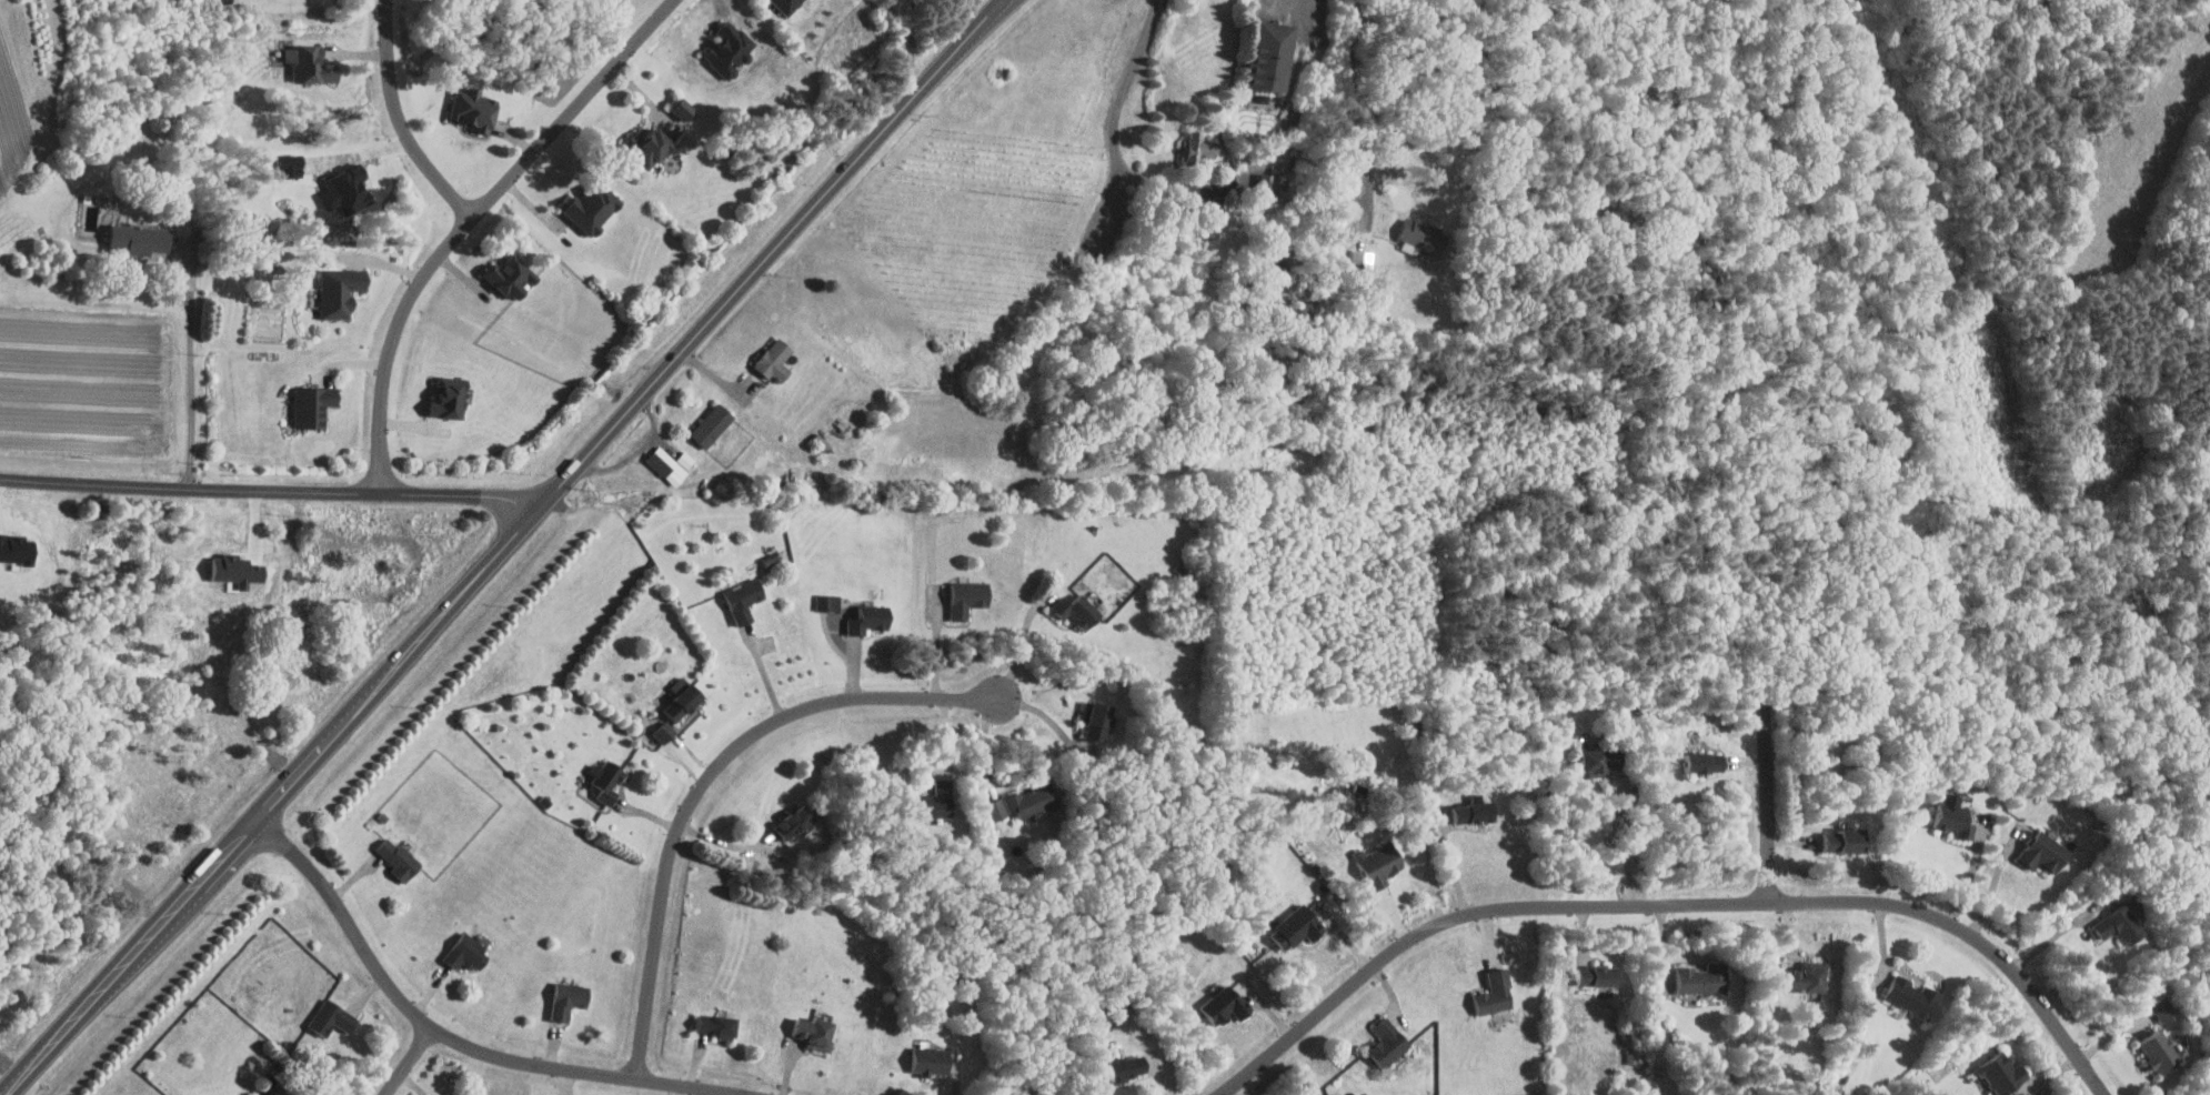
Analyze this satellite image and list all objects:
road: (1307, 3)
building: (787, 4)
road: (995, 9)
road: (999, 9)
building: (730, 49)
building: (1273, 56)
building: (310, 64)
building: (684, 109)
building: (474, 110)
road: (400, 120)
road: (1114, 131)
building: (652, 148)
building: (1198, 148)
road: (363, 152)
building: (291, 170)
building: (1275, 182)
building: (346, 190)
building: (594, 209)
road: (470, 218)
building: (1424, 237)
building: (141, 239)
building: (1363, 261)
building: (513, 278)
building: (340, 292)
building: (775, 361)
road: (191, 369)
building: (450, 400)
building: (313, 406)
building: (713, 425)
building: (672, 464)
road: (274, 491)
road: (496, 557)
building: (772, 559)
building: (968, 596)
building: (744, 597)
building: (828, 601)
building: (1078, 610)
building: (870, 619)
road: (937, 644)
road: (1015, 650)
building: (683, 697)
road: (1047, 716)
building: (1099, 720)
building: (665, 731)
building: (1598, 761)
building: (1705, 762)
building: (609, 780)
road: (709, 786)
building: (940, 798)
building: (1034, 800)
road: (1769, 803)
building: (996, 808)
building: (1475, 811)
building: (1953, 816)
building: (796, 821)
building: (1845, 838)
road: (1631, 841)
road: (732, 844)
building: (2046, 851)
building: (398, 857)
building: (1382, 863)
road: (1453, 863)
road: (1971, 876)
road: (1995, 884)
road: (1674, 904)
building: (2119, 925)
building: (1298, 927)
road: (2055, 935)
building: (468, 952)
building: (1599, 975)
building: (1809, 977)
building: (1705, 978)
building: (1497, 992)
building: (1915, 996)
building: (569, 998)
building: (1226, 1005)
building: (2164, 1008)
building: (332, 1017)
building: (717, 1025)
building: (816, 1031)
road: (434, 1035)
building: (1388, 1042)
building: (2161, 1052)
building: (932, 1059)
road: (410, 1064)
building: (1128, 1067)
building: (2005, 1073)
building: (269, 1094)

